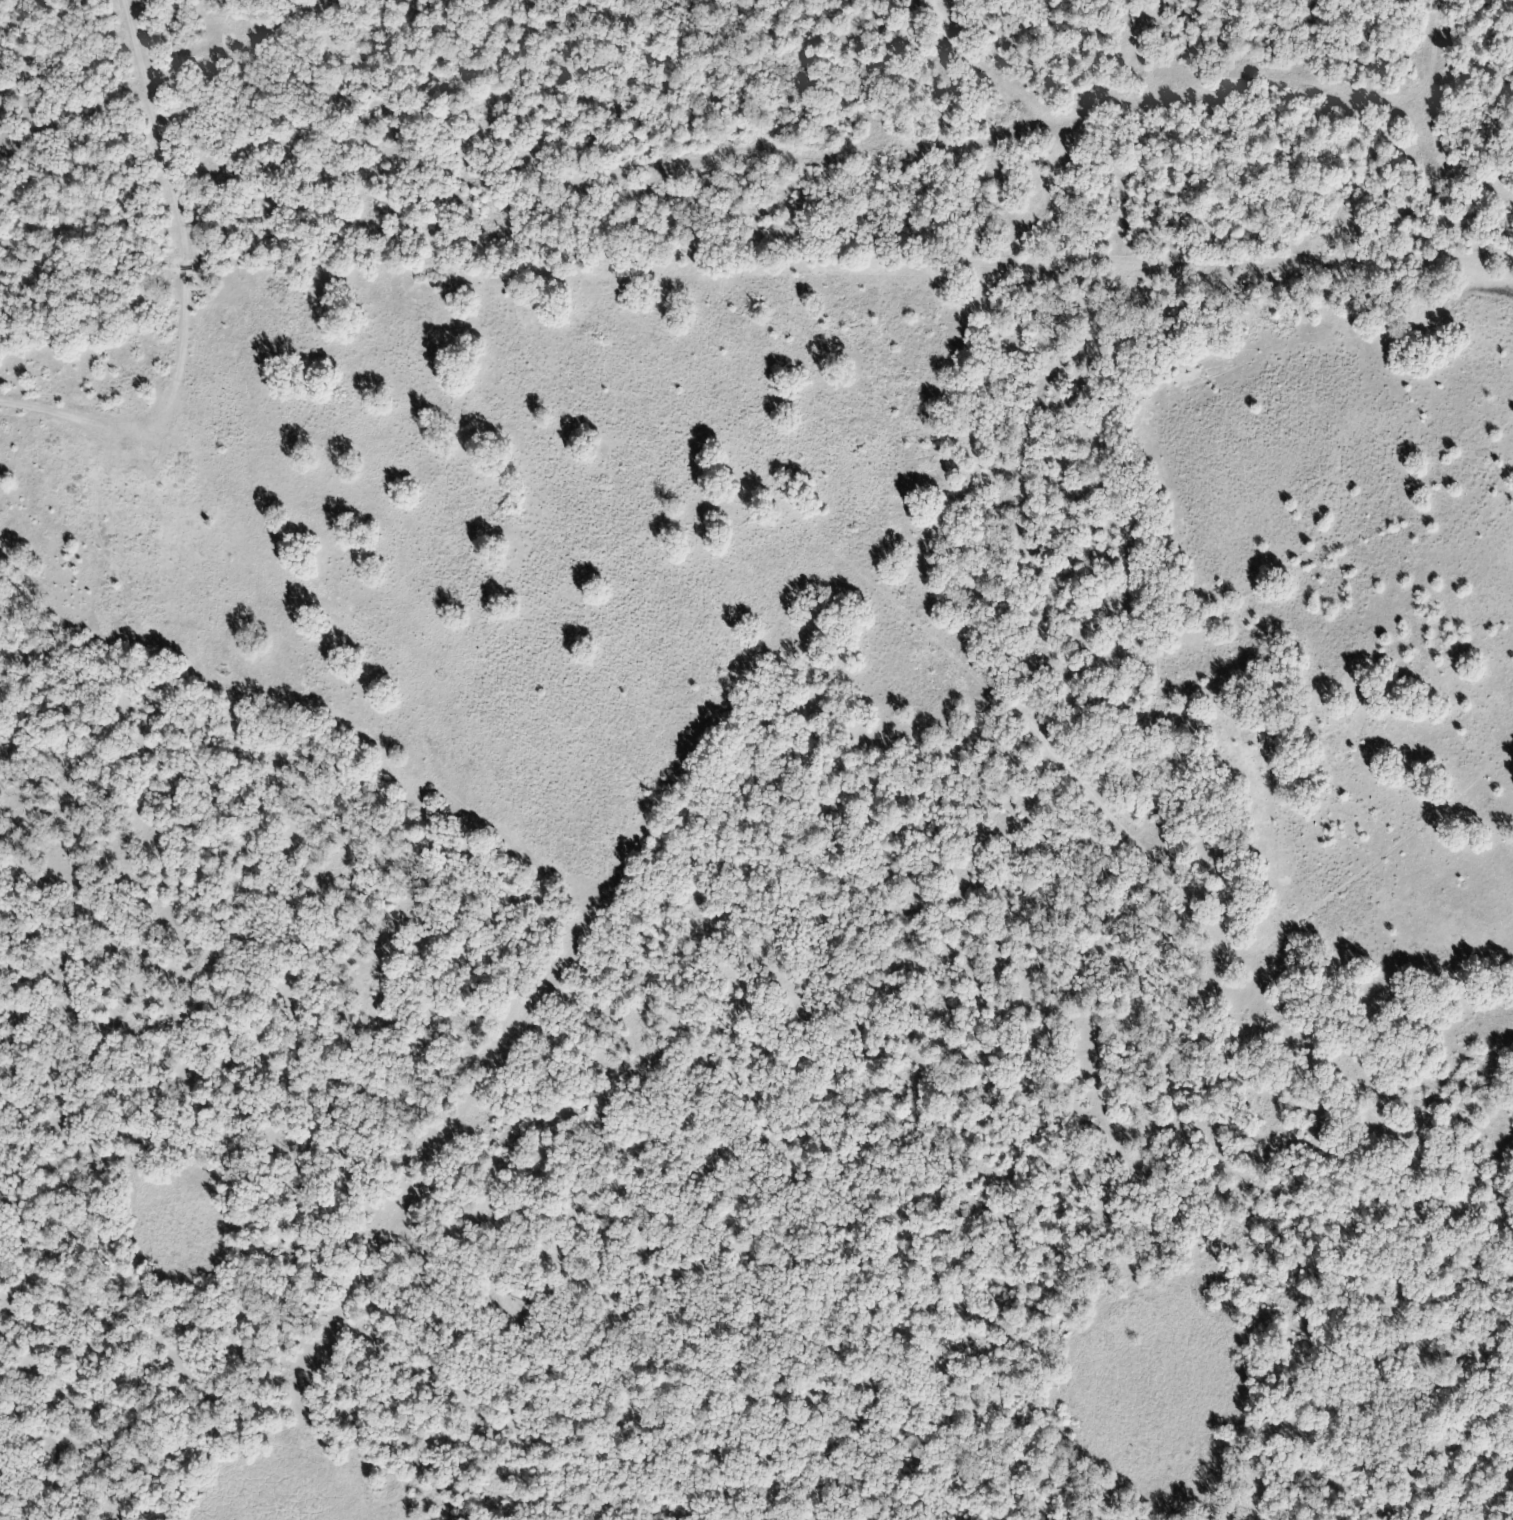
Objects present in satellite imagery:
road: (152, 136)
road: (690, 267)
building: (512, 1291)

